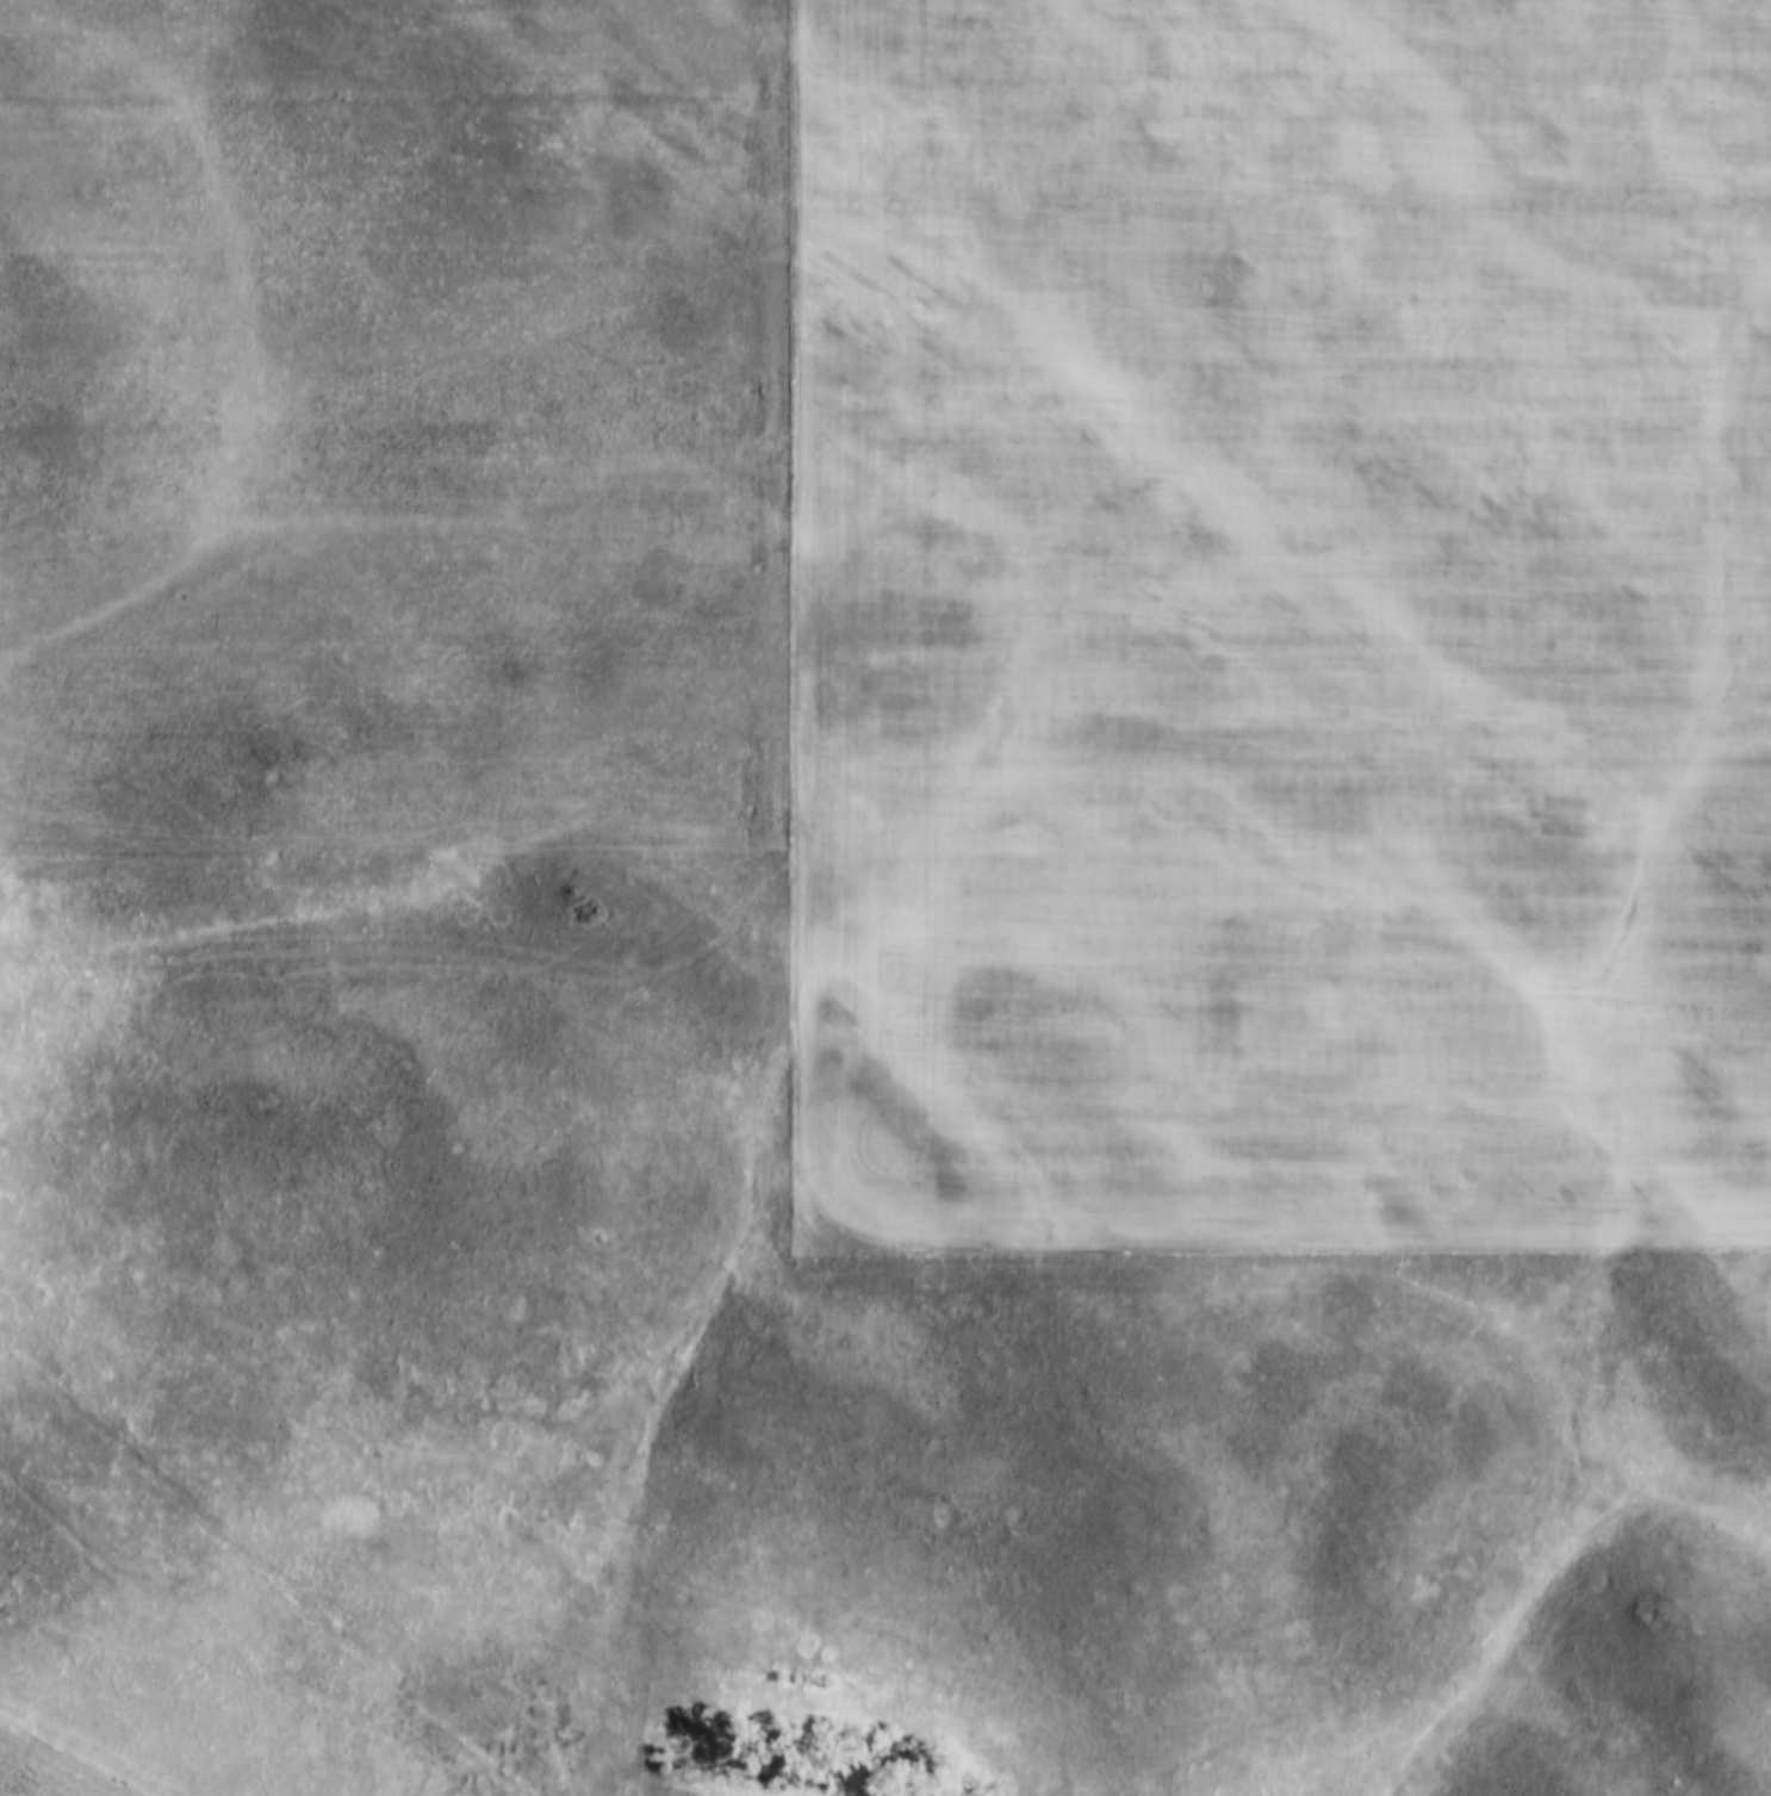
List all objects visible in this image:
road: (267, 1573)

